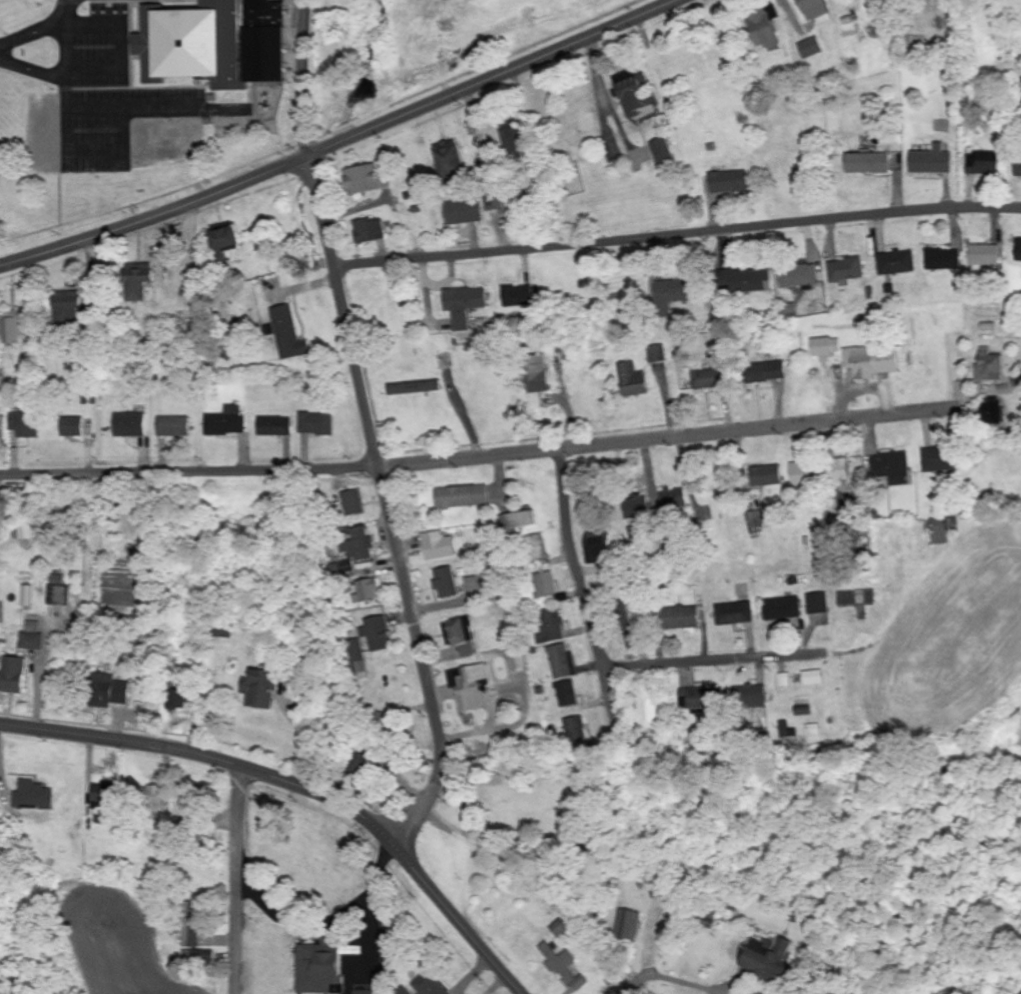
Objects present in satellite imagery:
building: (813, 9)
building: (266, 15)
building: (764, 26)
building: (193, 44)
building: (810, 48)
building: (268, 56)
road: (305, 77)
building: (634, 92)
building: (511, 140)
road: (343, 141)
building: (661, 152)
building: (447, 159)
building: (931, 161)
building: (866, 163)
building: (983, 164)
building: (1017, 168)
building: (364, 178)
building: (728, 182)
building: (493, 205)
building: (462, 212)
building: (368, 231)
road: (677, 233)
building: (222, 239)
building: (1018, 250)
building: (985, 255)
building: (943, 259)
building: (896, 262)
building: (845, 271)
building: (798, 276)
building: (745, 279)
building: (136, 281)
building: (670, 293)
building: (517, 296)
building: (463, 305)
building: (65, 307)
building: (10, 327)
building: (288, 333)
building: (826, 346)
building: (658, 354)
building: (870, 362)
building: (989, 366)
building: (766, 372)
building: (537, 374)
building: (709, 379)
building: (634, 381)
building: (415, 388)
building: (994, 409)
building: (226, 422)
building: (316, 424)
building: (24, 425)
building: (129, 425)
building: (274, 426)
building: (71, 427)
building: (173, 427)
building: (3, 428)
road: (480, 457)
building: (939, 460)
building: (891, 467)
building: (837, 472)
building: (800, 475)
building: (766, 476)
building: (461, 497)
building: (674, 501)
building: (353, 502)
road: (388, 503)
building: (632, 509)
building: (518, 521)
building: (361, 544)
building: (598, 544)
building: (438, 546)
building: (537, 548)
building: (446, 582)
building: (545, 585)
building: (368, 590)
building: (59, 591)
road: (582, 593)
building: (857, 598)
building: (819, 603)
building: (783, 608)
building: (735, 614)
building: (680, 618)
building: (552, 625)
building: (377, 634)
building: (460, 636)
building: (32, 637)
road: (719, 658)
building: (521, 661)
building: (563, 662)
building: (13, 675)
building: (813, 678)
building: (472, 689)
building: (108, 692)
building: (567, 694)
building: (748, 695)
building: (702, 698)
building: (577, 730)
road: (304, 784)
building: (32, 795)
building: (101, 796)
road: (509, 816)
road: (233, 879)
building: (628, 925)
building: (188, 934)
building: (197, 957)
building: (770, 960)
building: (564, 967)
building: (318, 969)
building: (431, 987)

